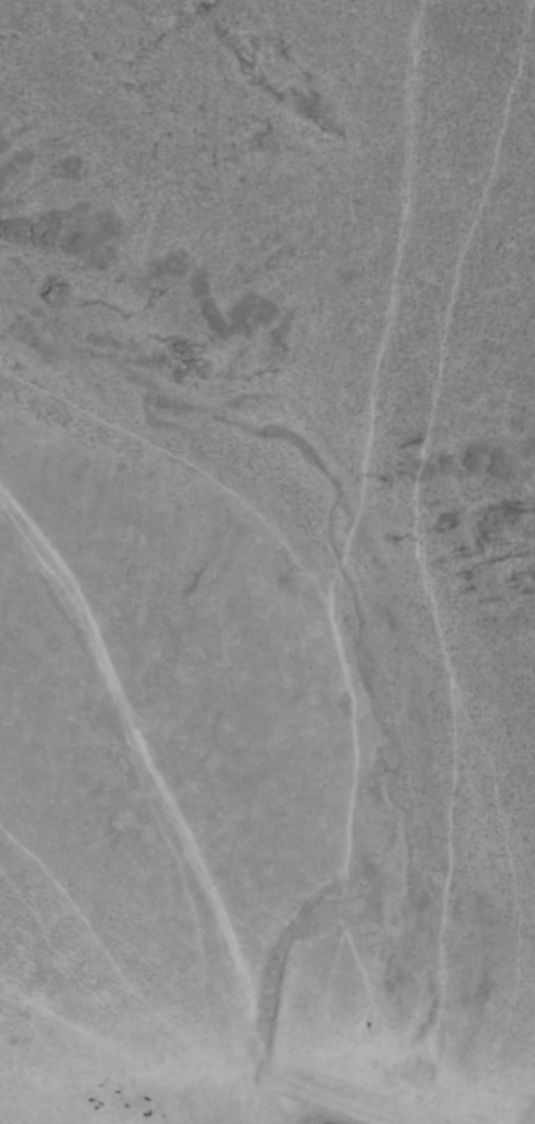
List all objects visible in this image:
road: (18, 1032)
dam: (321, 1097)

